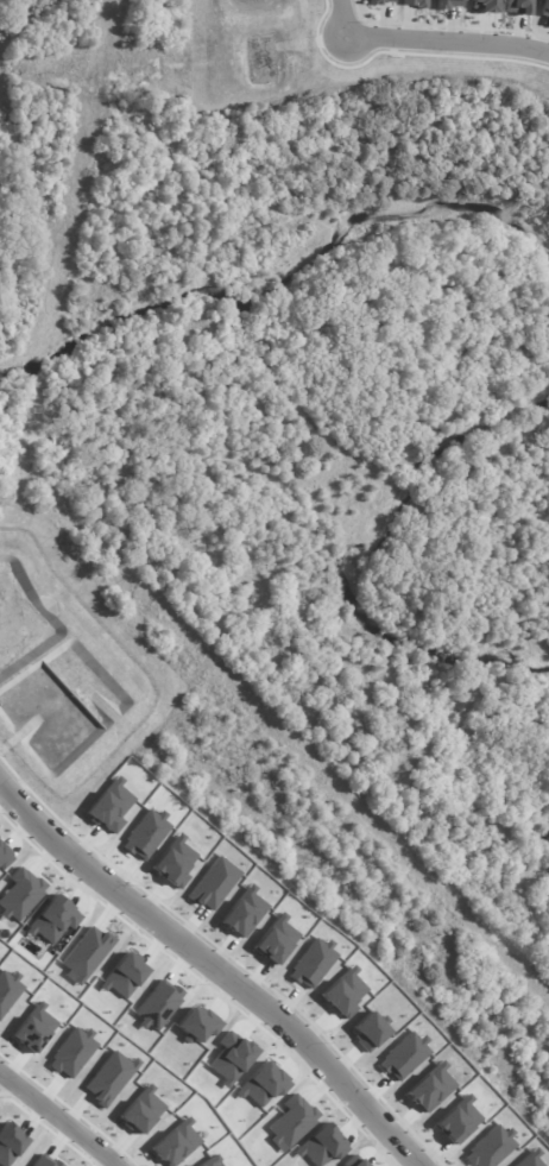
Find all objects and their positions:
building: (381, 1)
building: (415, 4)
building: (449, 4)
building: (517, 7)
building: (544, 10)
road: (345, 19)
road: (449, 42)
building: (109, 807)
park: (309, 807)
building: (145, 834)
building: (5, 857)
building: (173, 863)
building: (213, 884)
building: (20, 895)
building: (244, 913)
building: (53, 920)
building: (276, 940)
building: (87, 953)
building: (313, 964)
road: (216, 969)
building: (125, 976)
building: (8, 990)
building: (345, 992)
building: (158, 1006)
building: (197, 1025)
building: (33, 1028)
building: (370, 1031)
building: (71, 1052)
building: (404, 1055)
building: (232, 1058)
building: (109, 1078)
building: (263, 1085)
building: (430, 1088)
building: (141, 1111)
road: (59, 1117)
building: (457, 1120)
building: (292, 1122)
building: (10, 1143)
building: (176, 1143)
building: (321, 1146)
building: (490, 1148)
building: (529, 1159)
building: (45, 1161)
building: (210, 1161)
building: (358, 1162)

